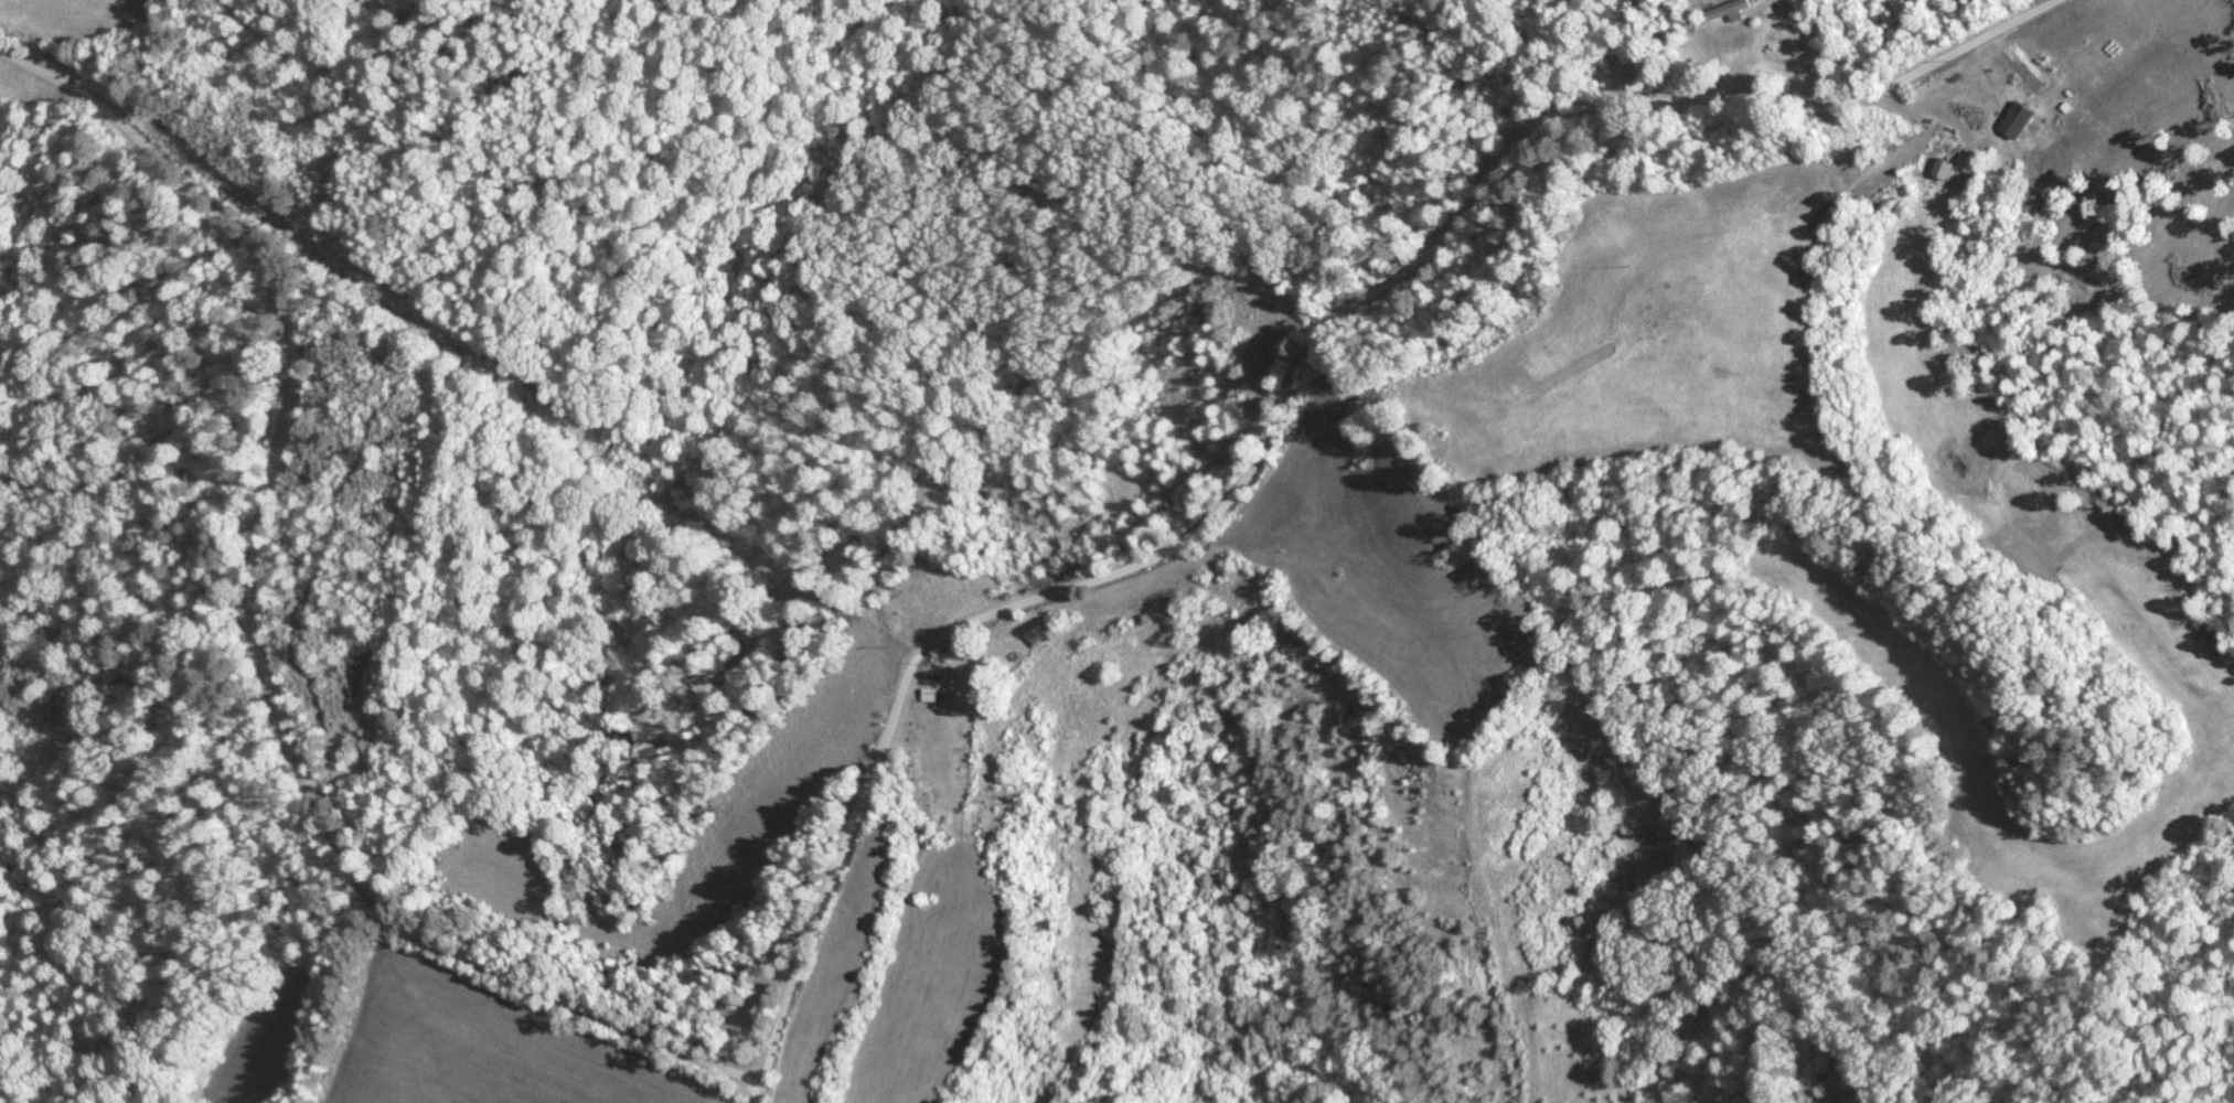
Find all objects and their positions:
building: (1734, 8)
building: (2013, 120)
road: (1283, 401)
road: (256, 628)
road: (756, 1092)

